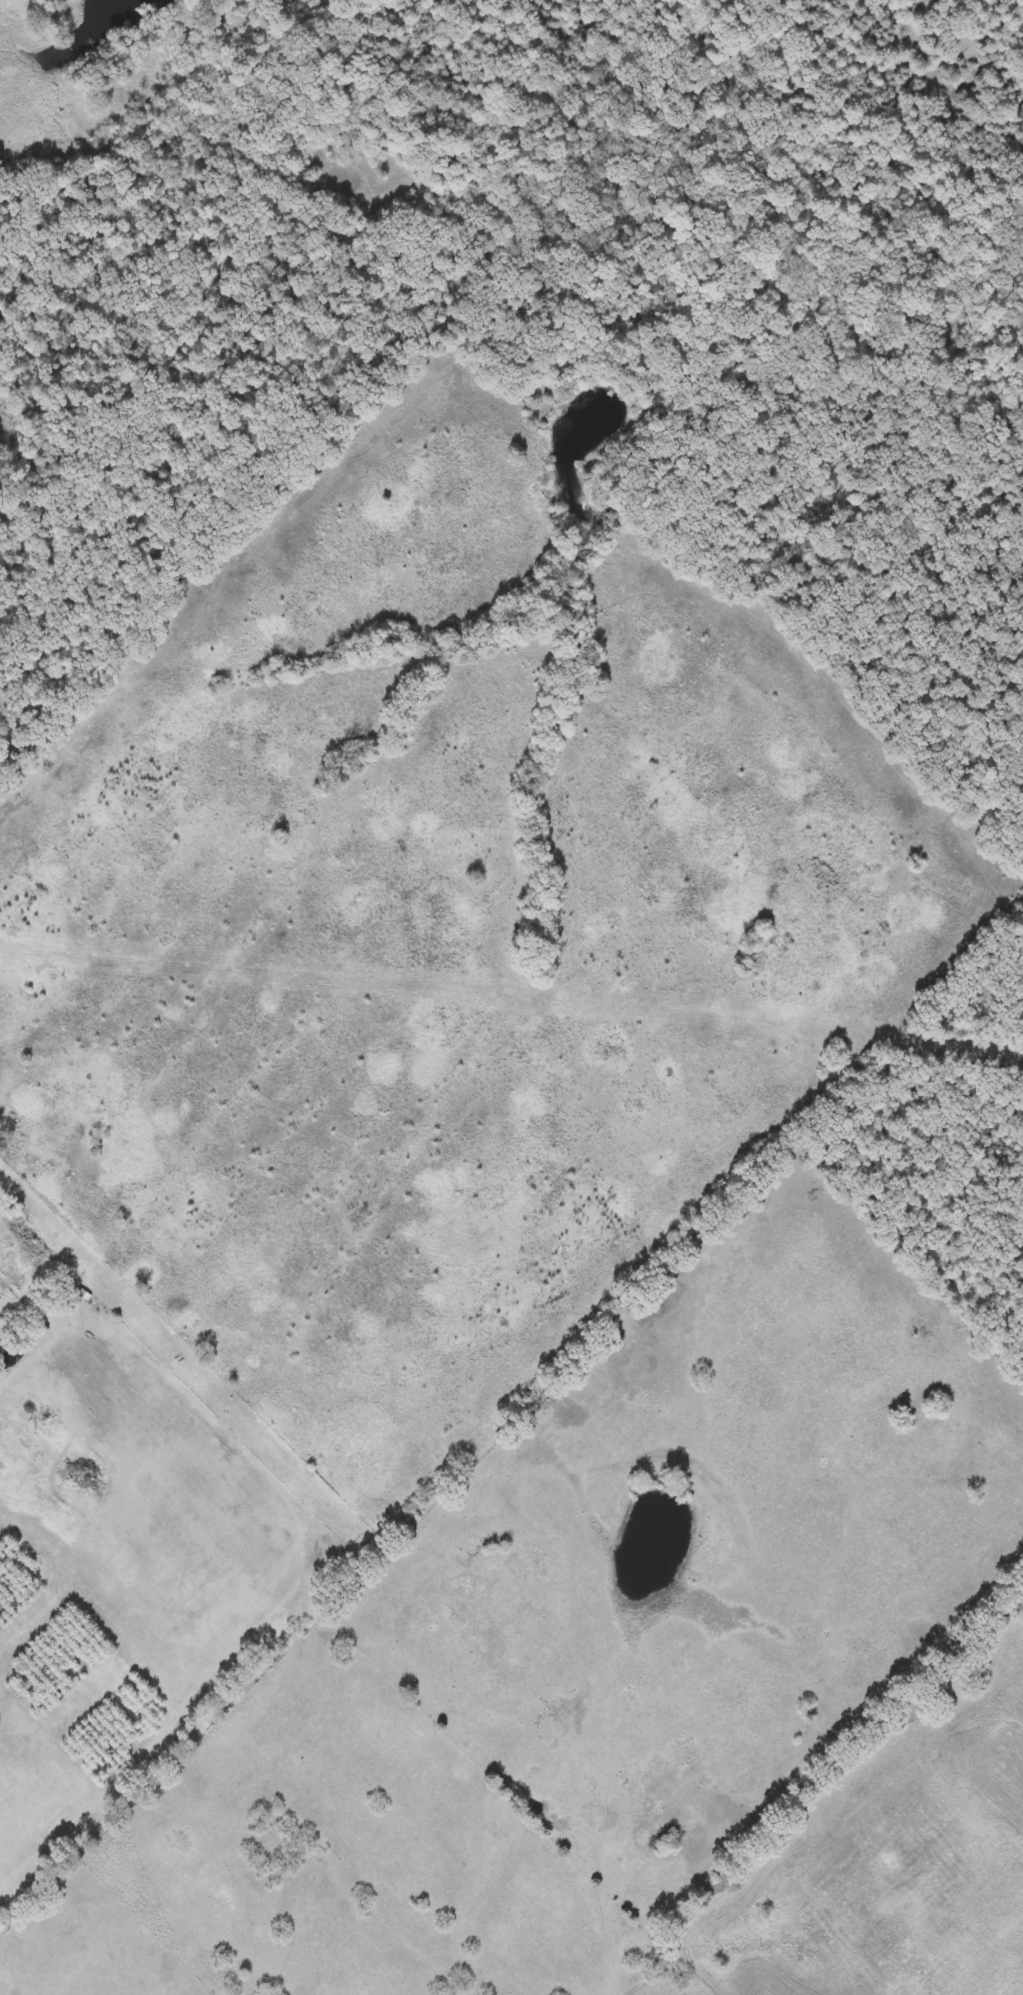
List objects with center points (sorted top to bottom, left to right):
road: (28, 1364)

